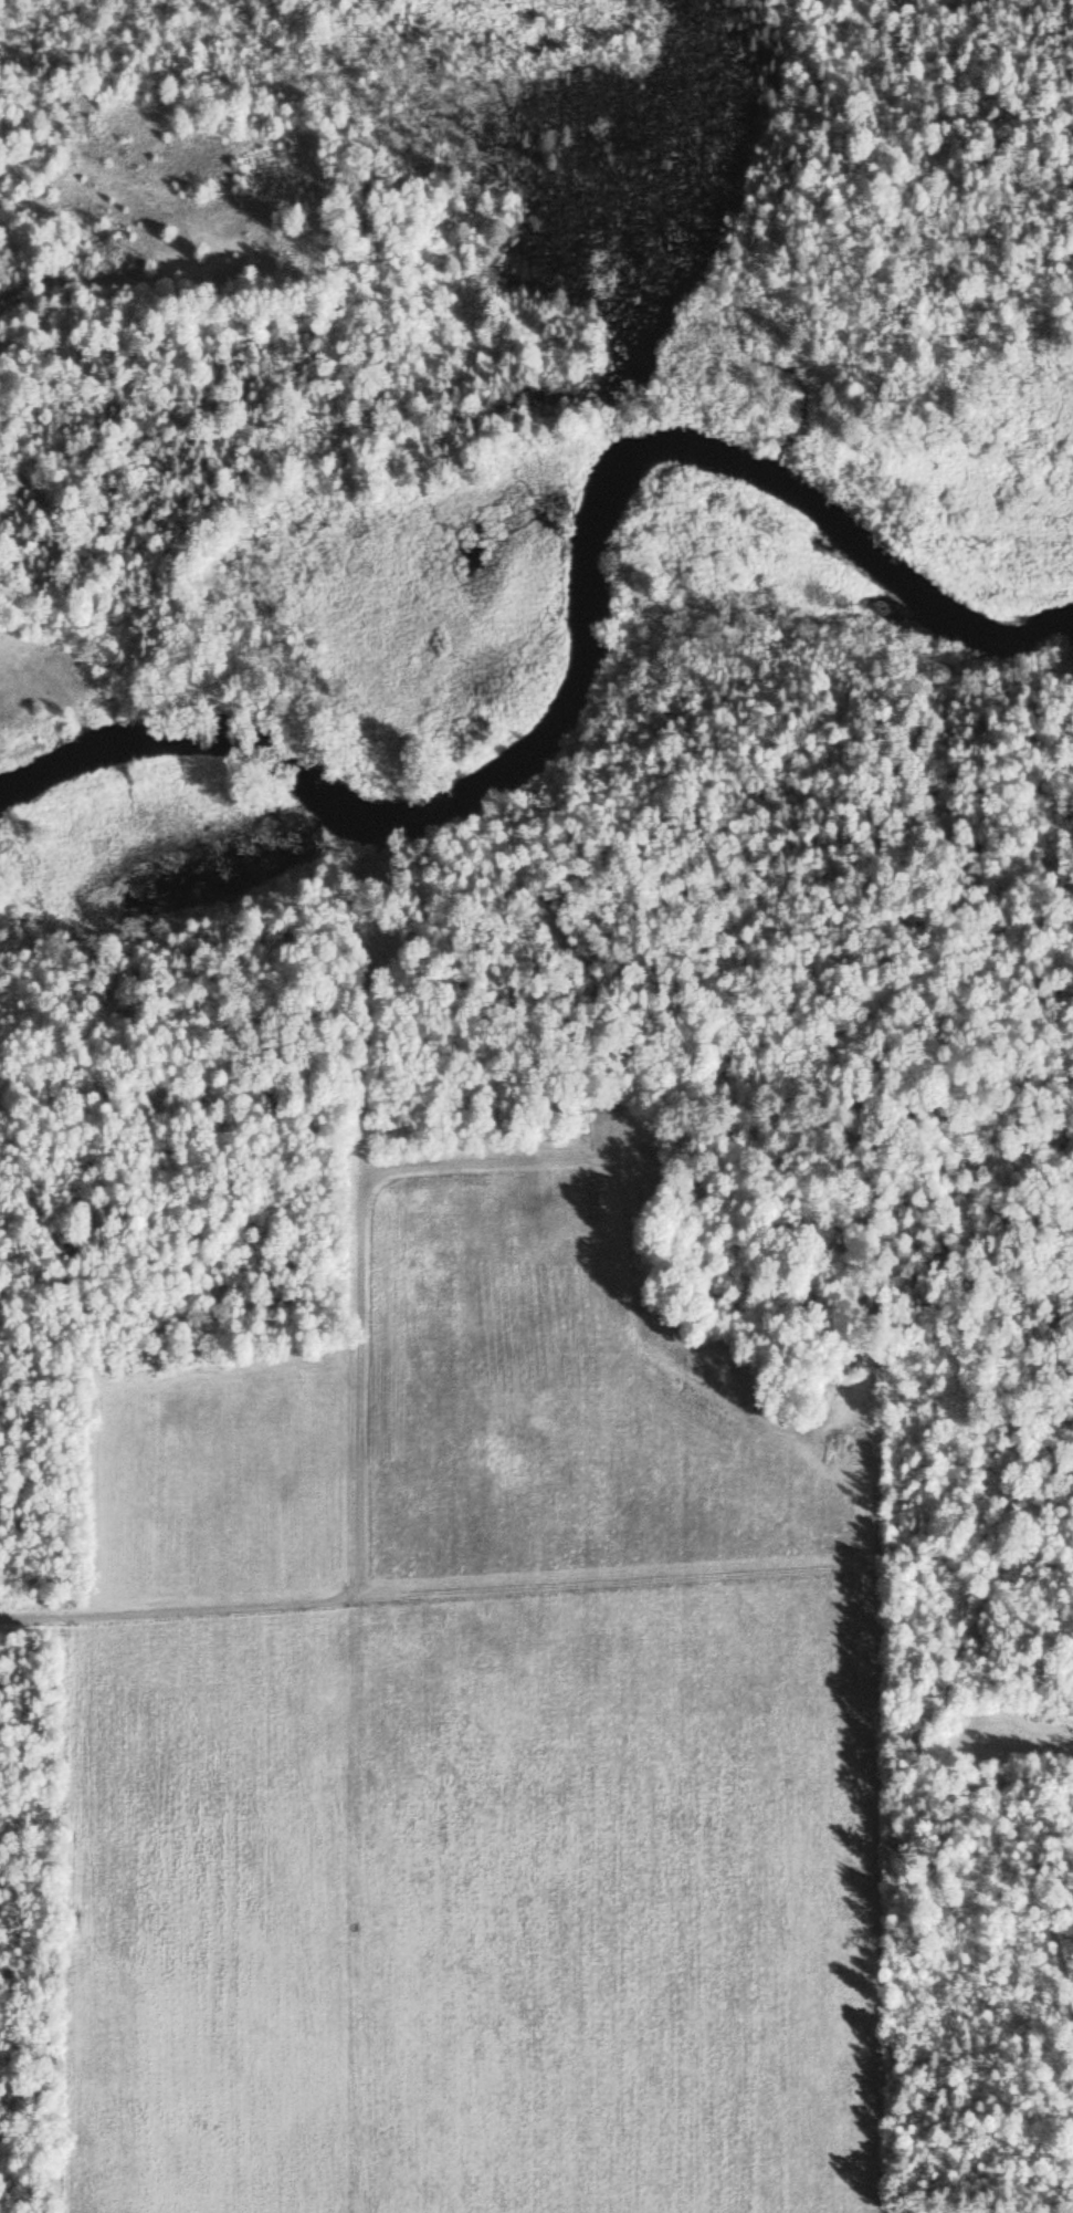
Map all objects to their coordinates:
river: (582, 650)

